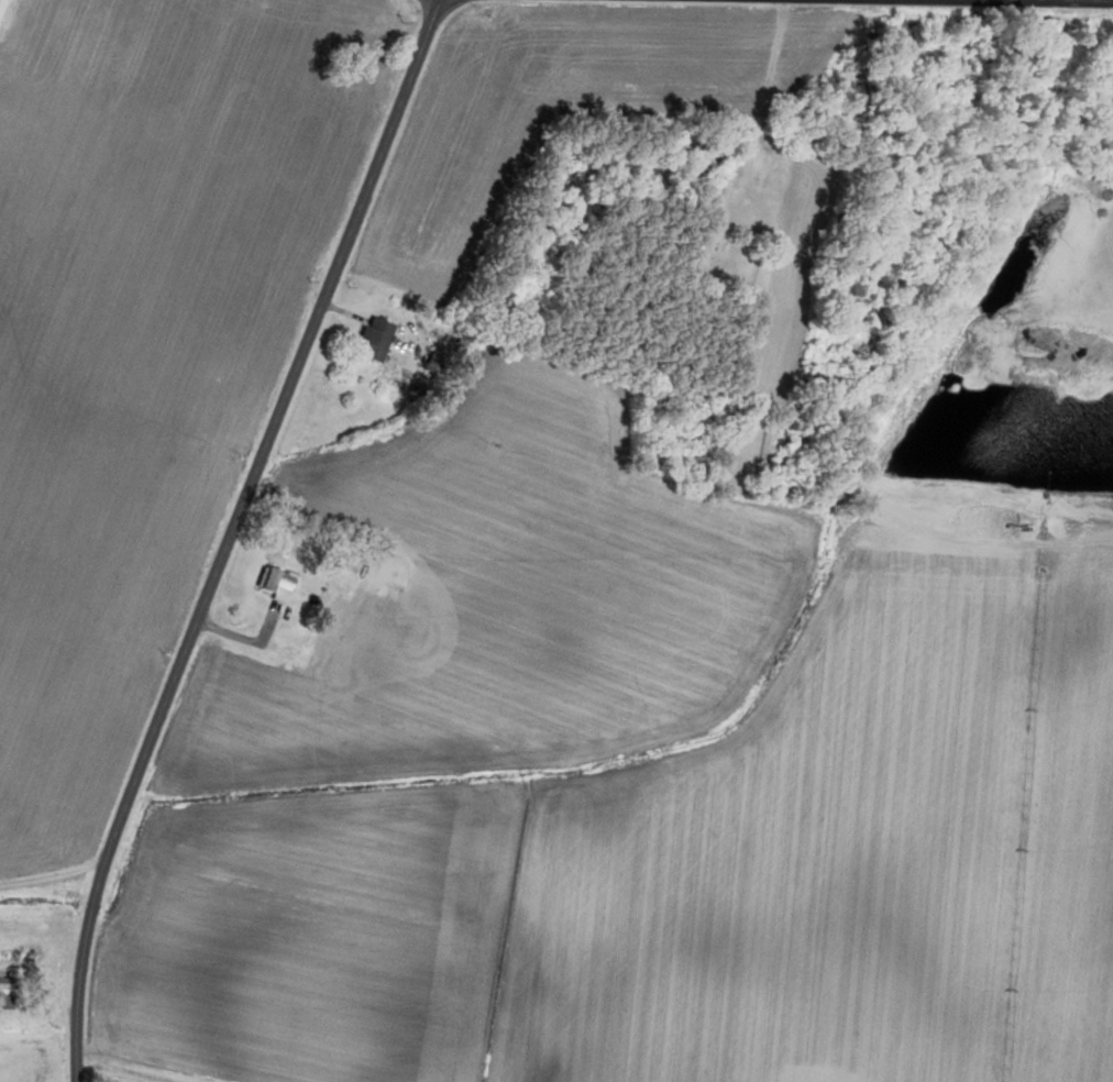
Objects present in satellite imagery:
road: (977, 1)
building: (0, 2)
building: (371, 339)
road: (231, 534)
building: (384, 570)
building: (271, 584)
building: (4, 990)

